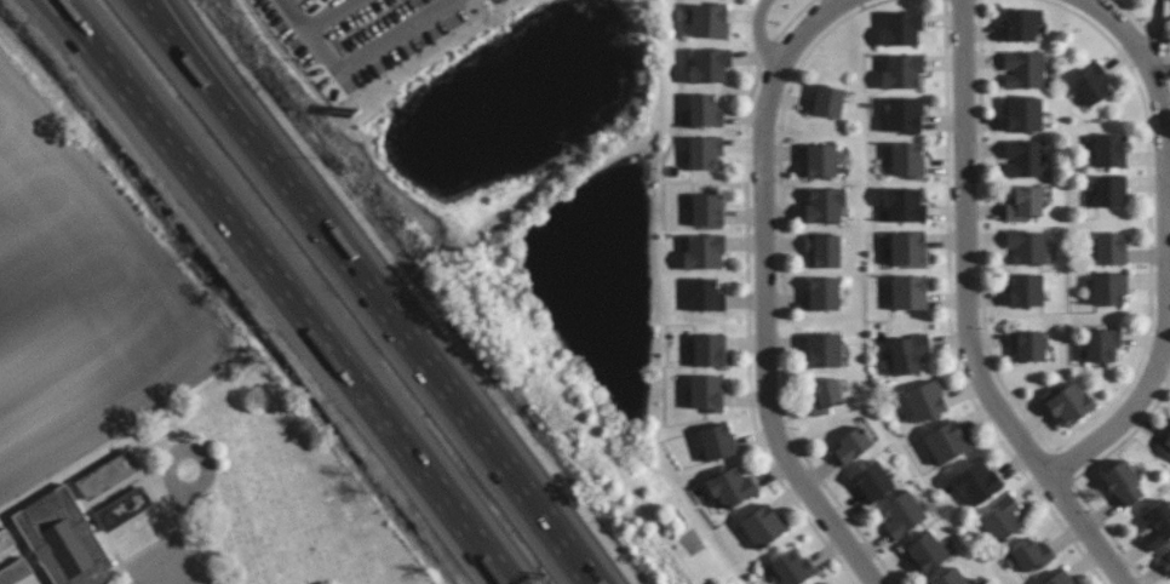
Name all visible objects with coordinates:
road: (845, 0)
road: (333, 15)
building: (706, 21)
road: (80, 22)
building: (1022, 24)
building: (901, 28)
road: (1168, 32)
road: (761, 35)
road: (201, 41)
road: (360, 59)
building: (710, 65)
building: (902, 70)
building: (1023, 70)
building: (1092, 86)
building: (828, 101)
building: (705, 111)
building: (904, 114)
building: (1023, 114)
building: (1109, 150)
building: (705, 153)
building: (907, 159)
building: (1025, 159)
building: (821, 161)
building: (1109, 191)
building: (1026, 204)
building: (825, 205)
building: (905, 205)
building: (707, 210)
road: (1164, 245)
building: (1027, 246)
building: (908, 248)
building: (1111, 248)
building: (824, 250)
building: (705, 252)
road: (380, 287)
building: (1109, 288)
road: (296, 290)
building: (1026, 290)
road: (765, 292)
building: (908, 292)
building: (824, 293)
building: (706, 296)
road: (967, 317)
building: (1103, 344)
building: (1031, 345)
building: (710, 350)
building: (824, 350)
building: (908, 354)
building: (707, 393)
building: (826, 396)
building: (925, 401)
building: (1067, 403)
building: (718, 441)
building: (947, 442)
building: (1165, 442)
building: (851, 446)
road: (172, 456)
building: (108, 475)
building: (872, 481)
building: (977, 482)
building: (1123, 483)
building: (732, 487)
park: (201, 499)
building: (124, 509)
building: (902, 514)
building: (1002, 519)
building: (1158, 525)
building: (763, 526)
road: (189, 533)
building: (63, 539)
building: (5, 540)
building: (925, 552)
building: (1032, 554)
building: (1165, 562)
building: (791, 568)
building: (16, 573)
building: (951, 577)
building: (1060, 578)
building: (825, 583)

